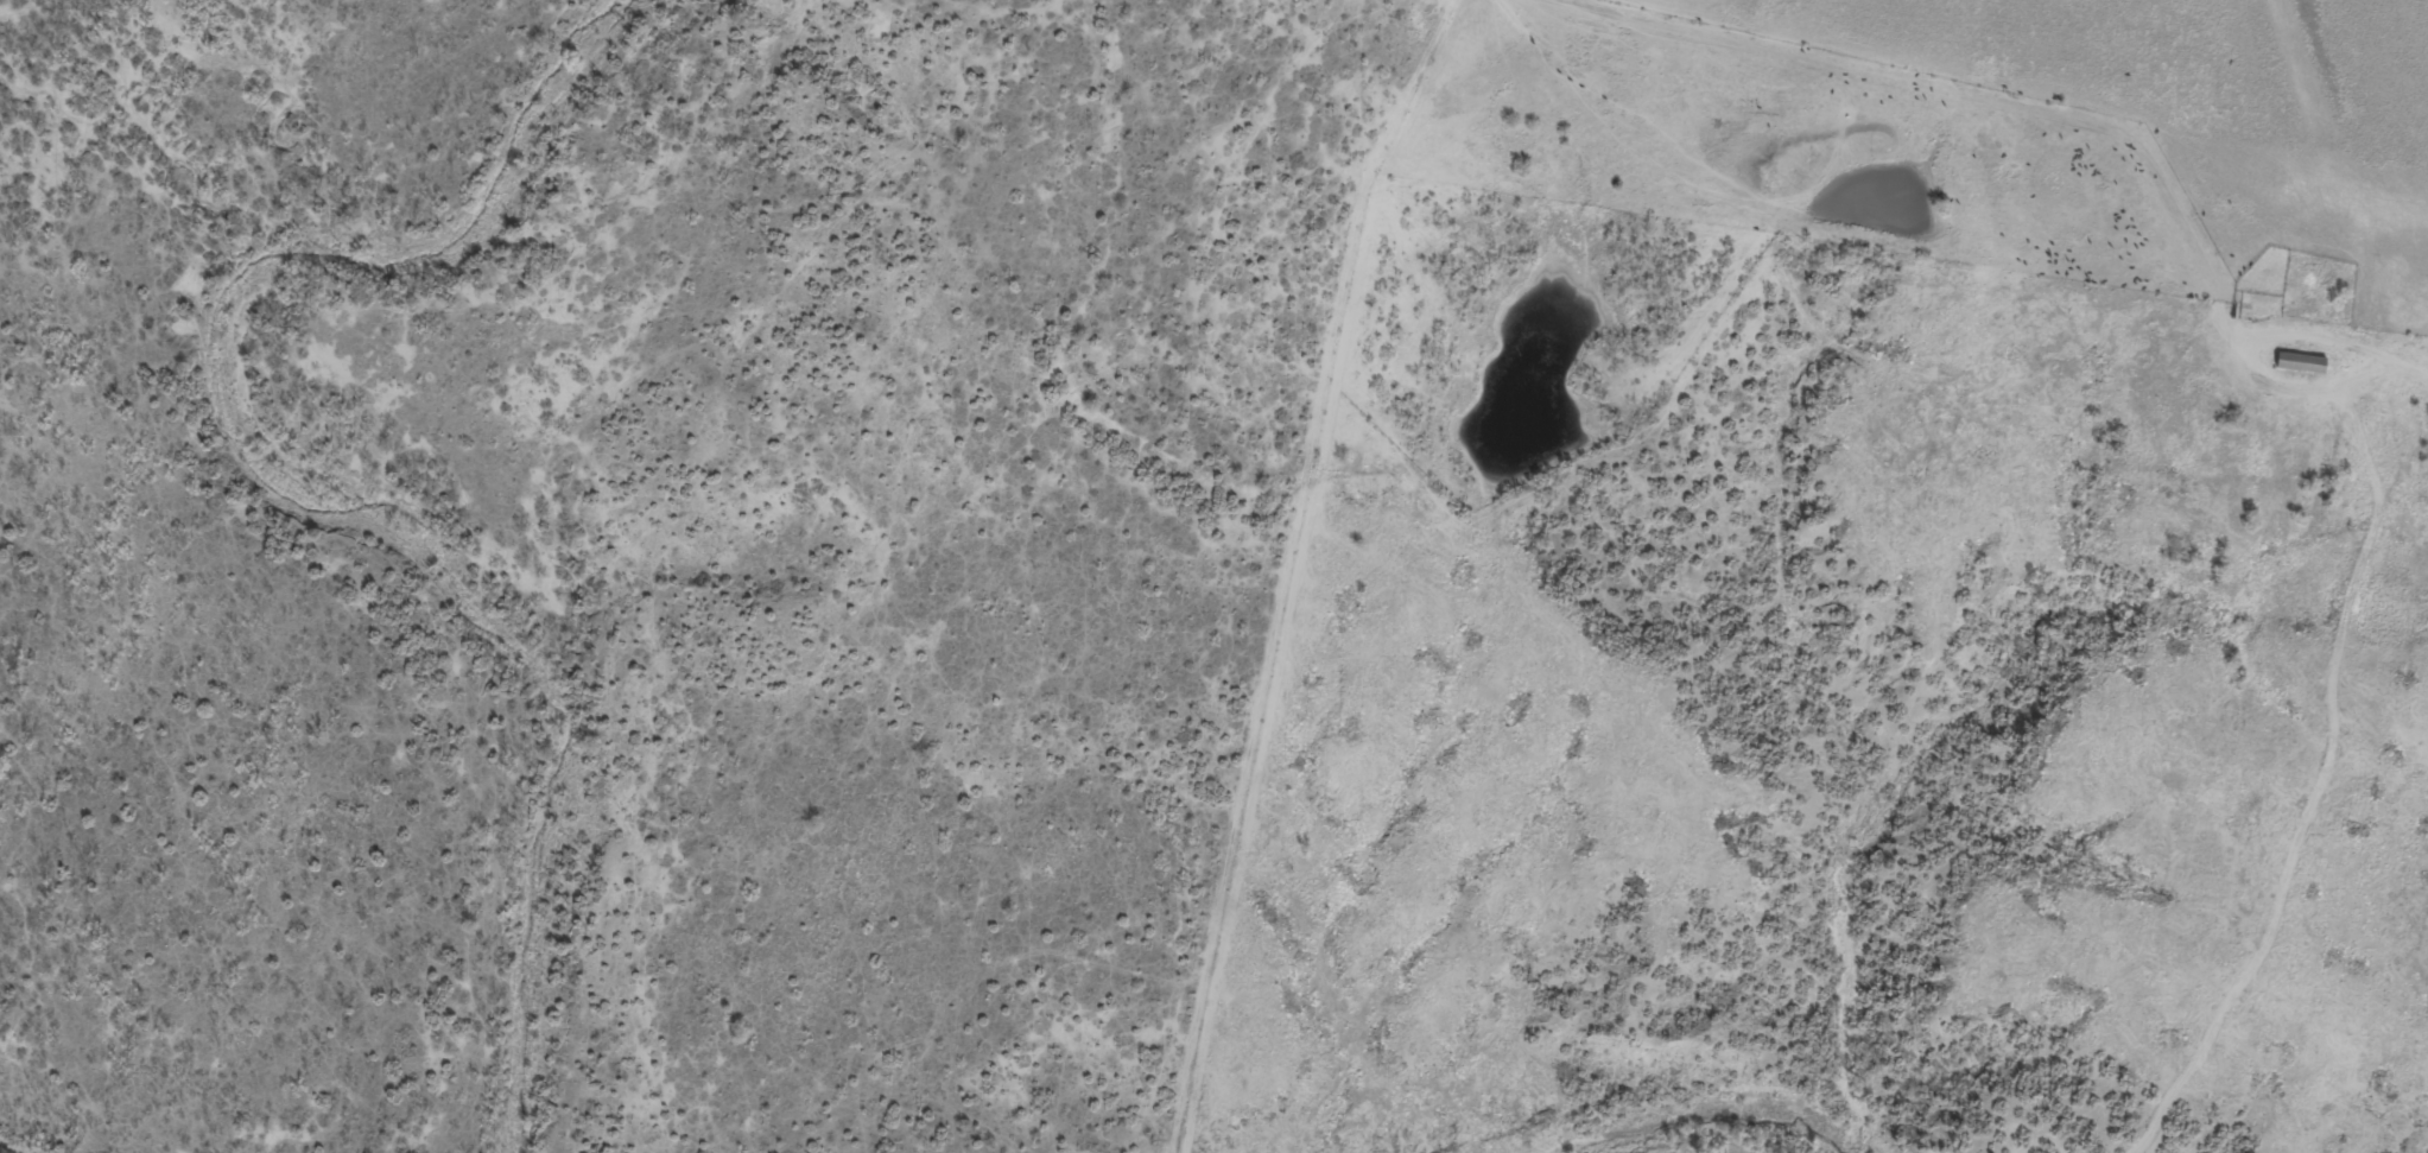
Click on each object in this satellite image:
building: (2074, 201)
building: (2301, 362)

